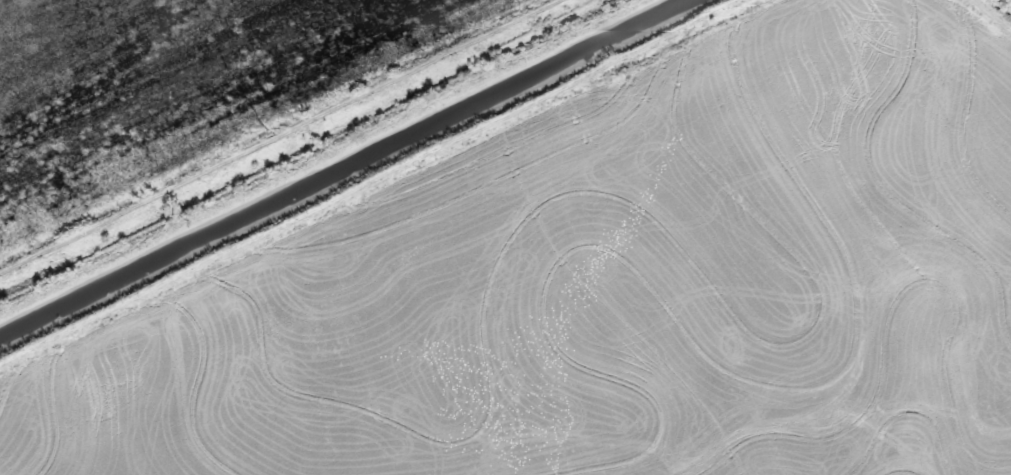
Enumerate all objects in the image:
road: (993, 13)
road: (380, 186)

